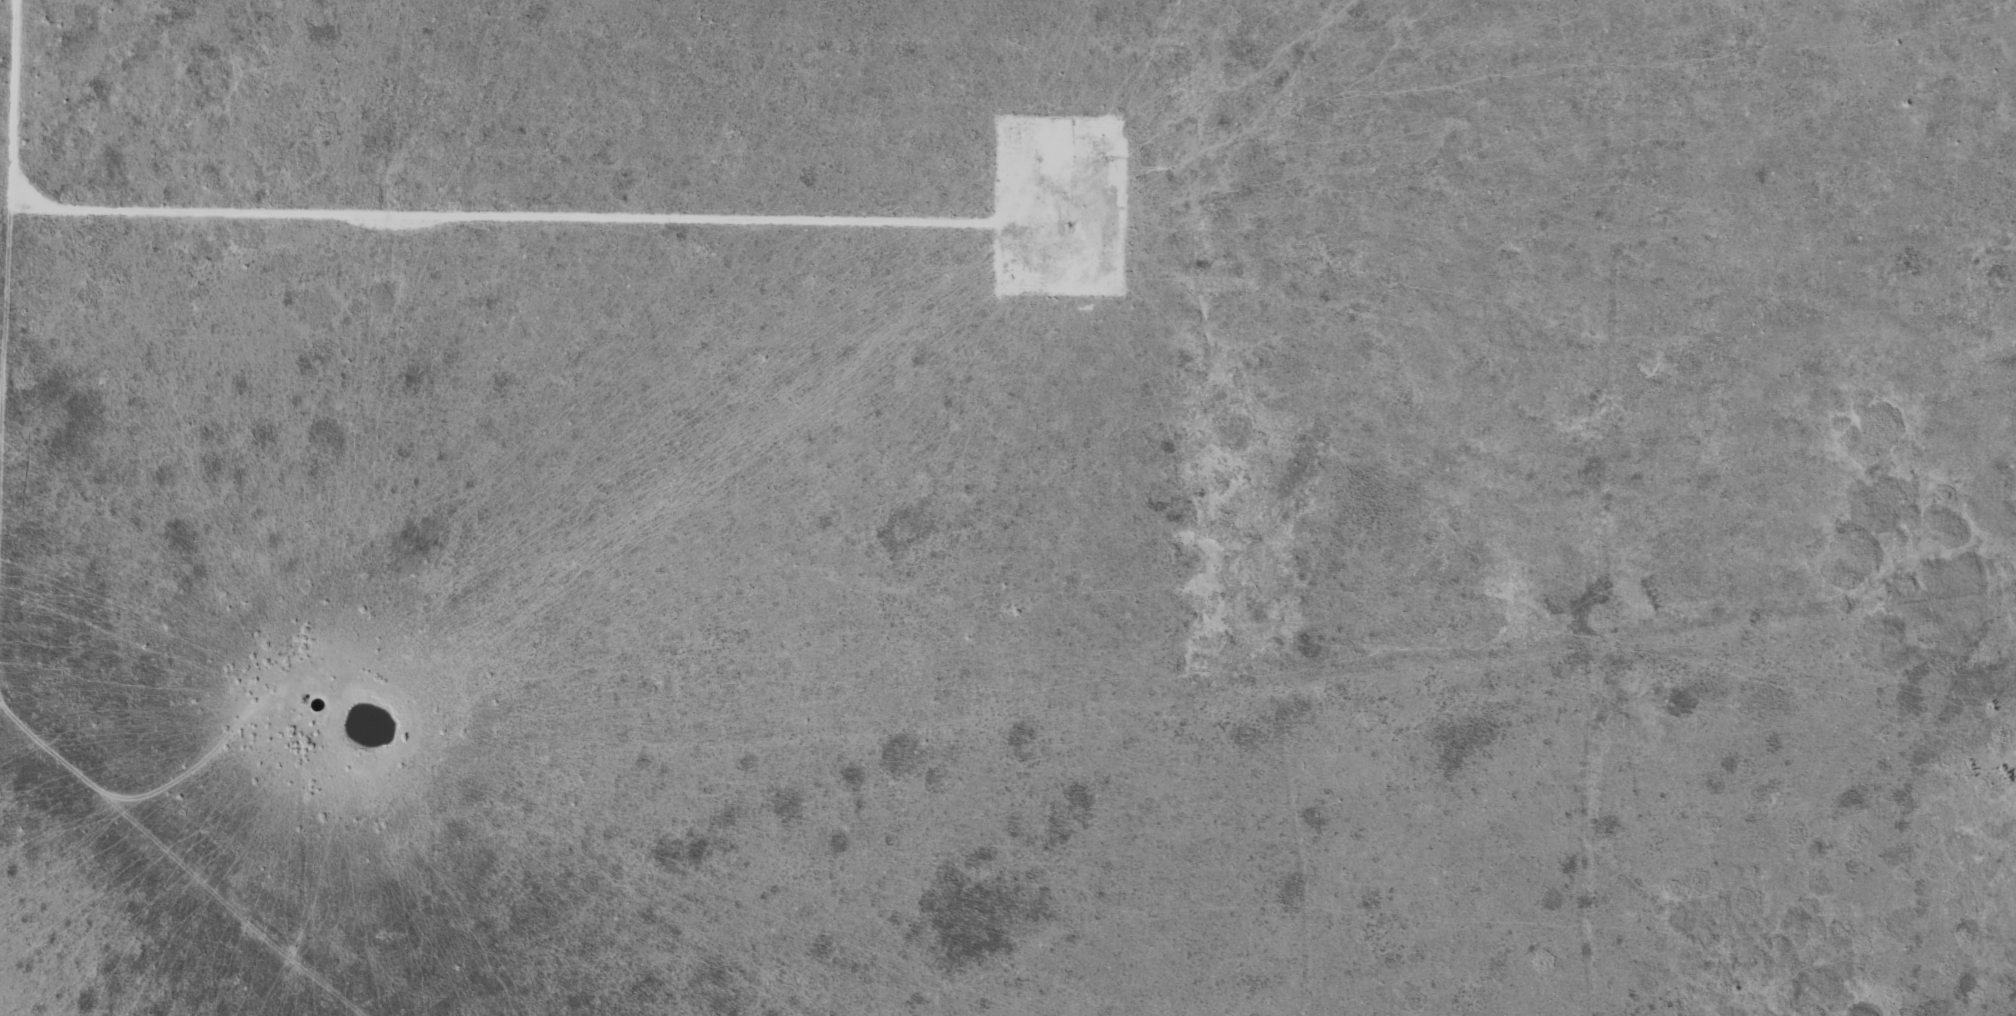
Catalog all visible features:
road: (367, 505)

